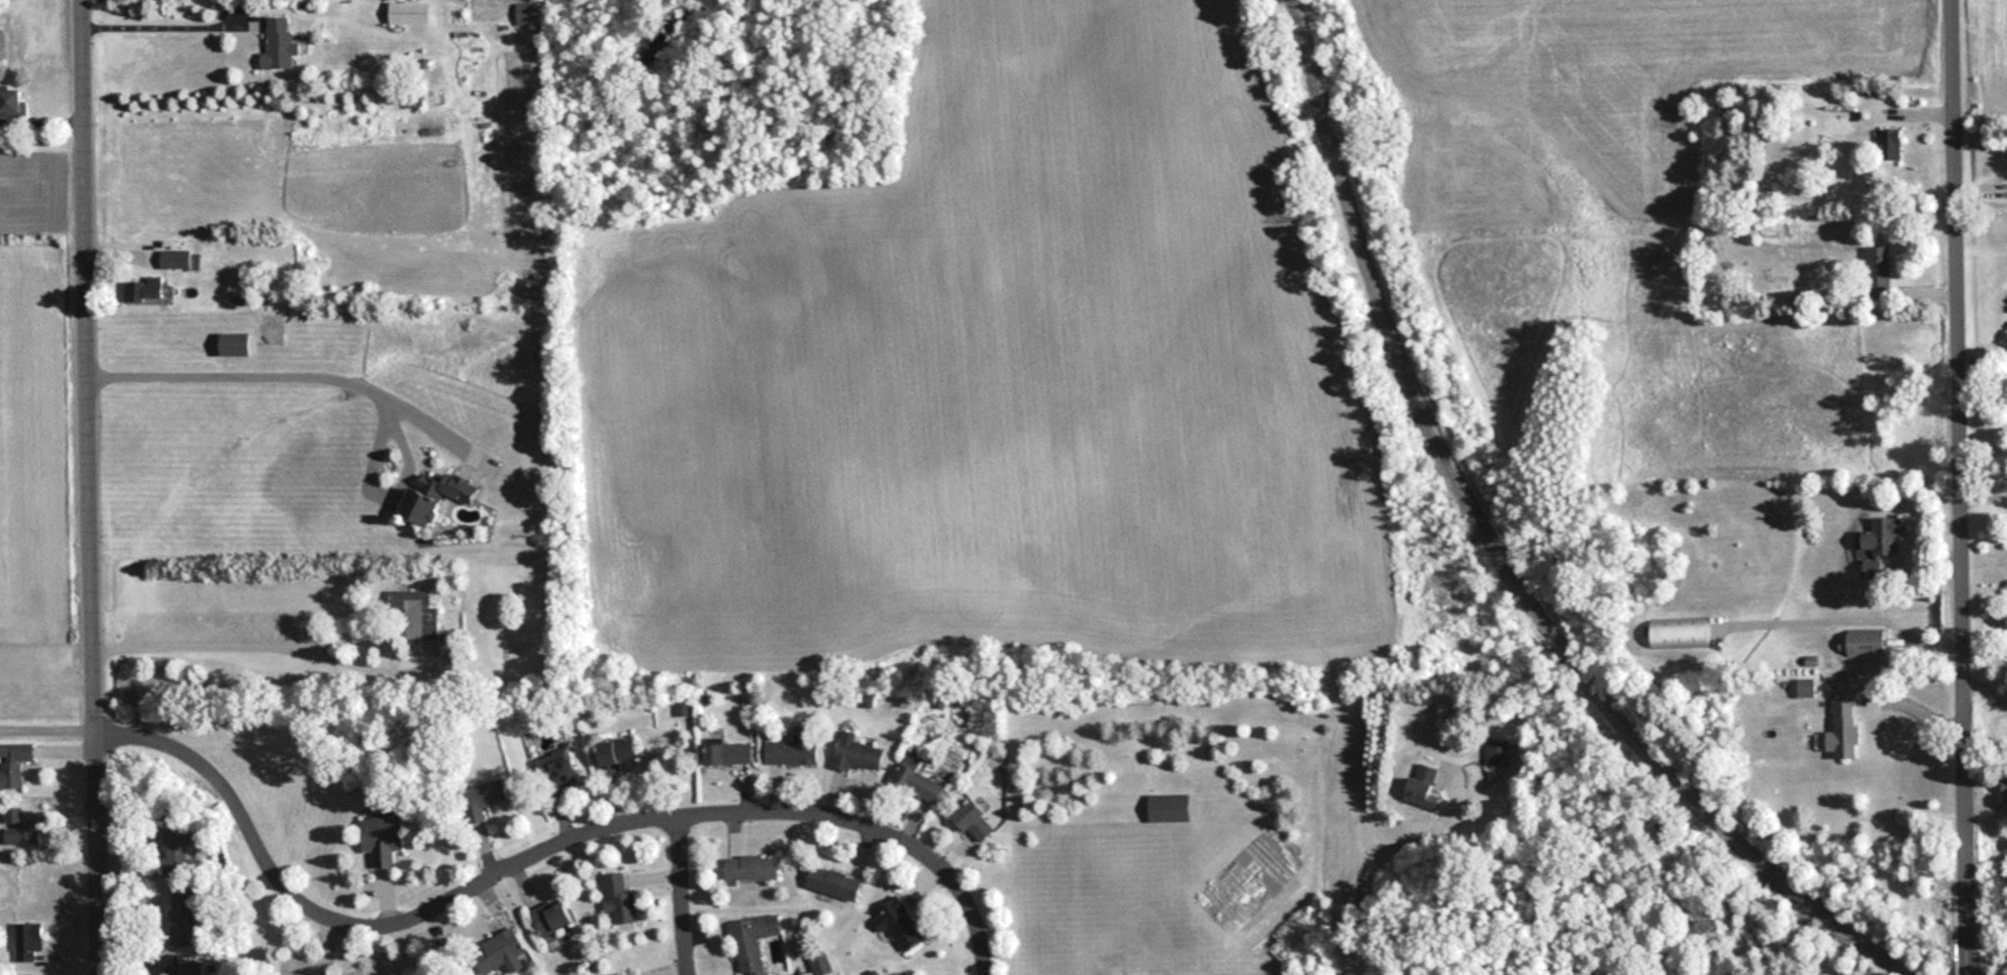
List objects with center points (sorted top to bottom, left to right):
building: (409, 13)
building: (523, 13)
road: (153, 22)
building: (279, 46)
building: (12, 104)
building: (1892, 145)
building: (176, 258)
building: (1879, 273)
building: (147, 288)
building: (235, 344)
road: (240, 373)
road: (1963, 470)
road: (93, 487)
building: (437, 494)
building: (1883, 545)
railway: (1507, 557)
building: (417, 611)
building: (1681, 631)
road: (241, 642)
building: (1866, 644)
building: (1806, 687)
road: (1917, 709)
building: (1845, 728)
building: (618, 751)
building: (1496, 751)
building: (793, 752)
building: (729, 753)
building: (858, 754)
building: (13, 763)
building: (561, 768)
building: (918, 780)
building: (1423, 783)
building: (2005, 791)
building: (483, 798)
building: (1170, 807)
building: (974, 819)
building: (22, 825)
building: (384, 838)
road: (1415, 841)
building: (178, 850)
road: (537, 854)
building: (753, 868)
building: (835, 882)
road: (681, 896)
building: (619, 898)
building: (182, 917)
building: (553, 918)
building: (898, 922)
building: (752, 941)
building: (30, 942)
building: (498, 950)
road: (1970, 958)
building: (190, 967)

